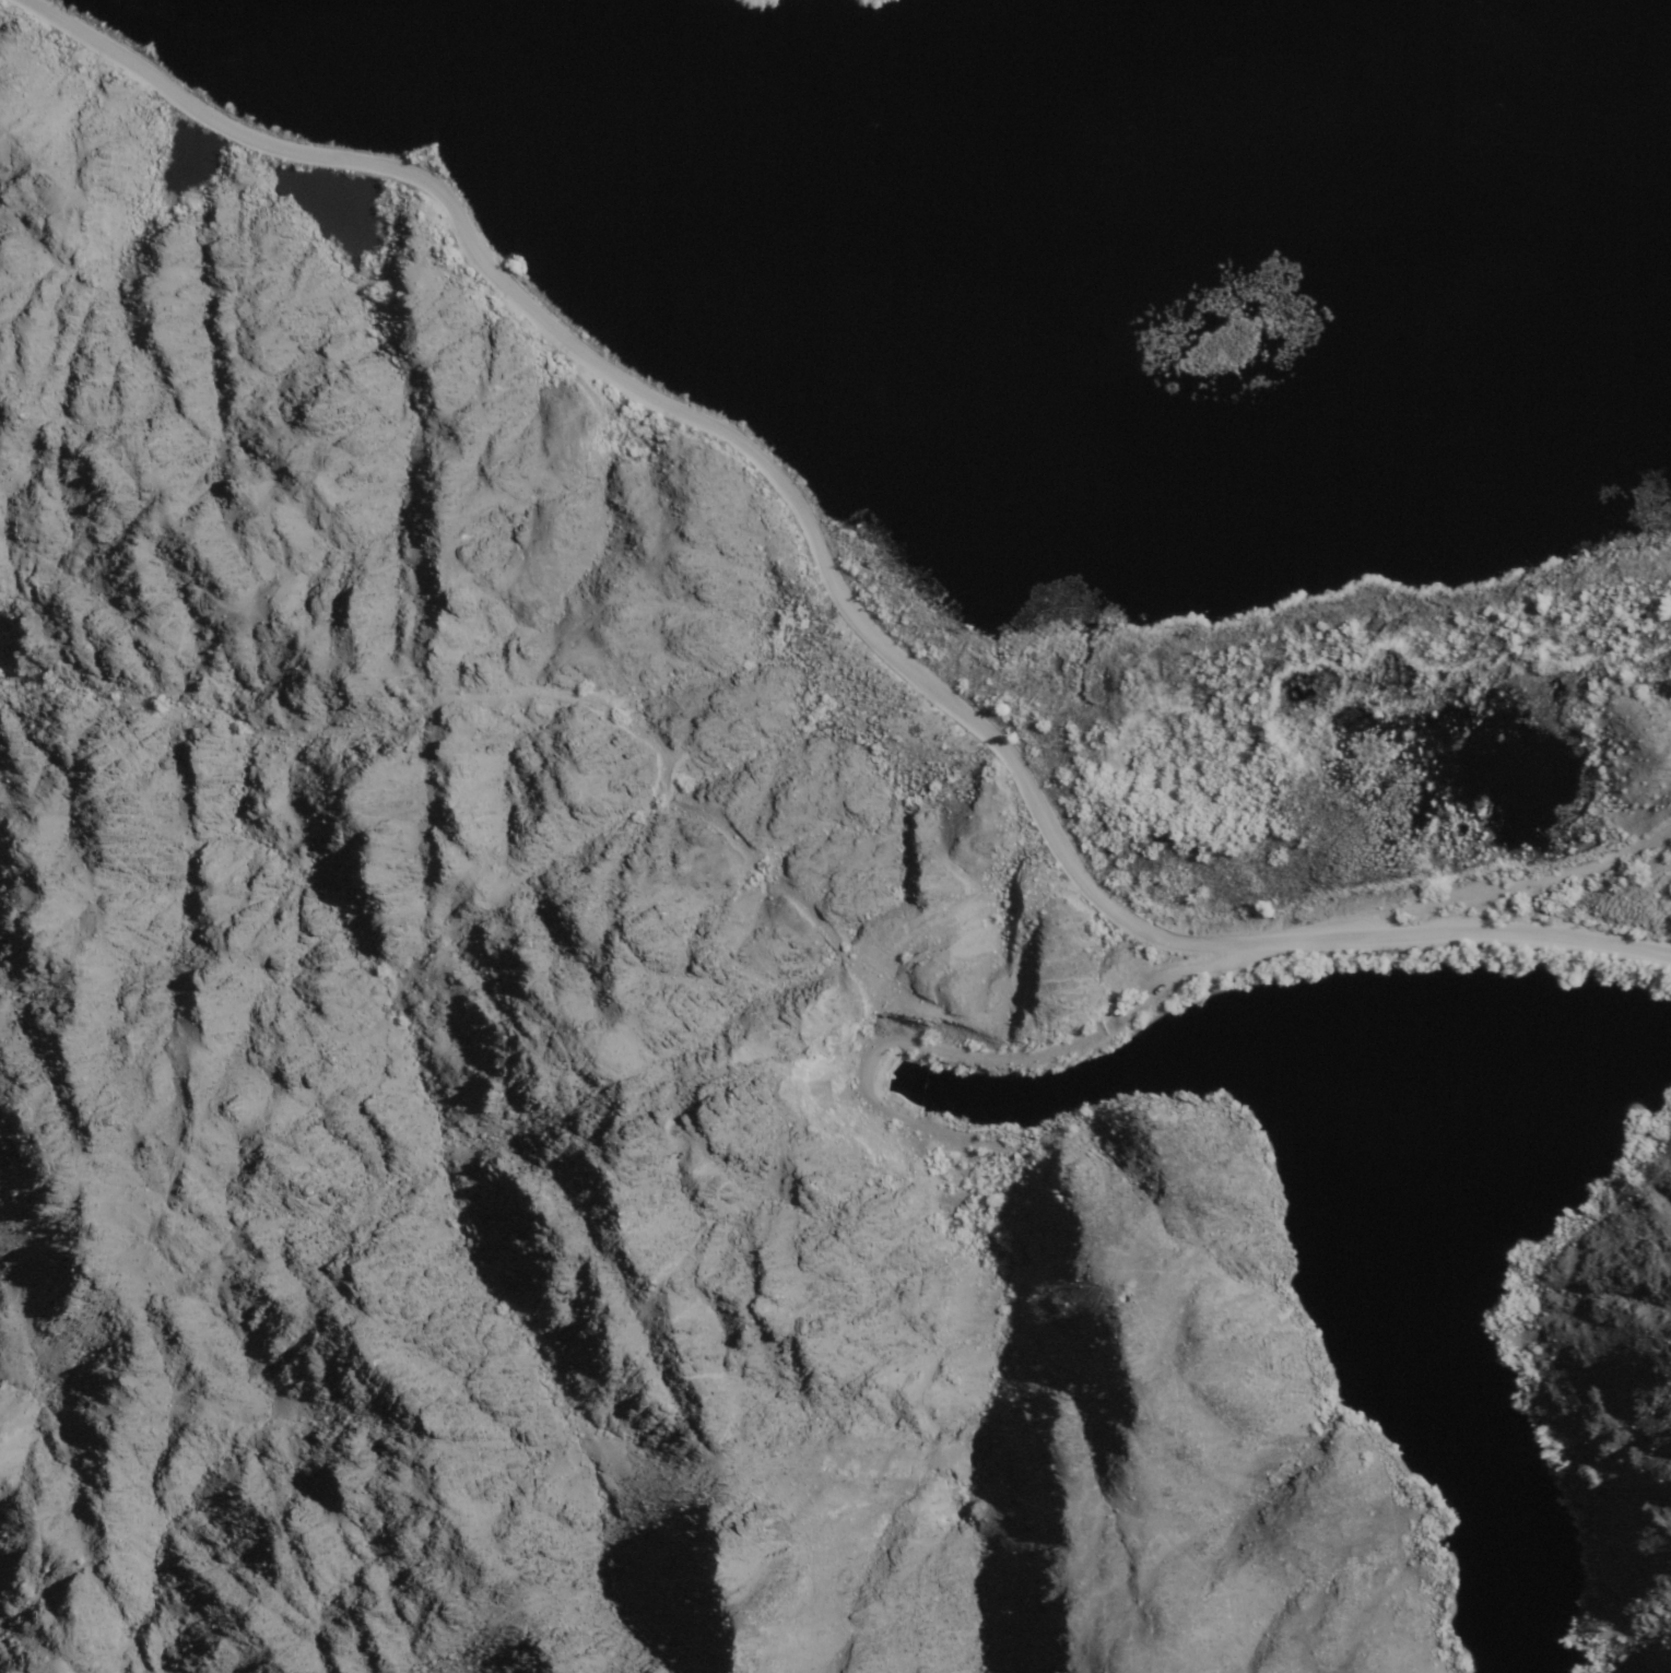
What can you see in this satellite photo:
road: (825, 570)
river: (443, 1002)
river: (1276, 1068)

